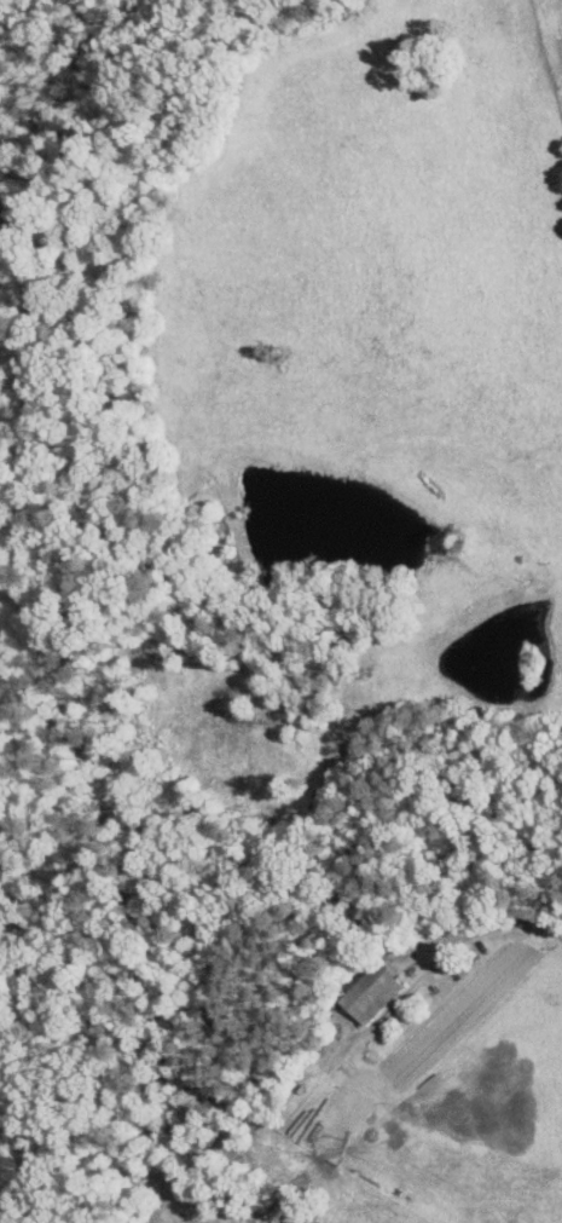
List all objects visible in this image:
road: (500, 924)
building: (373, 993)

